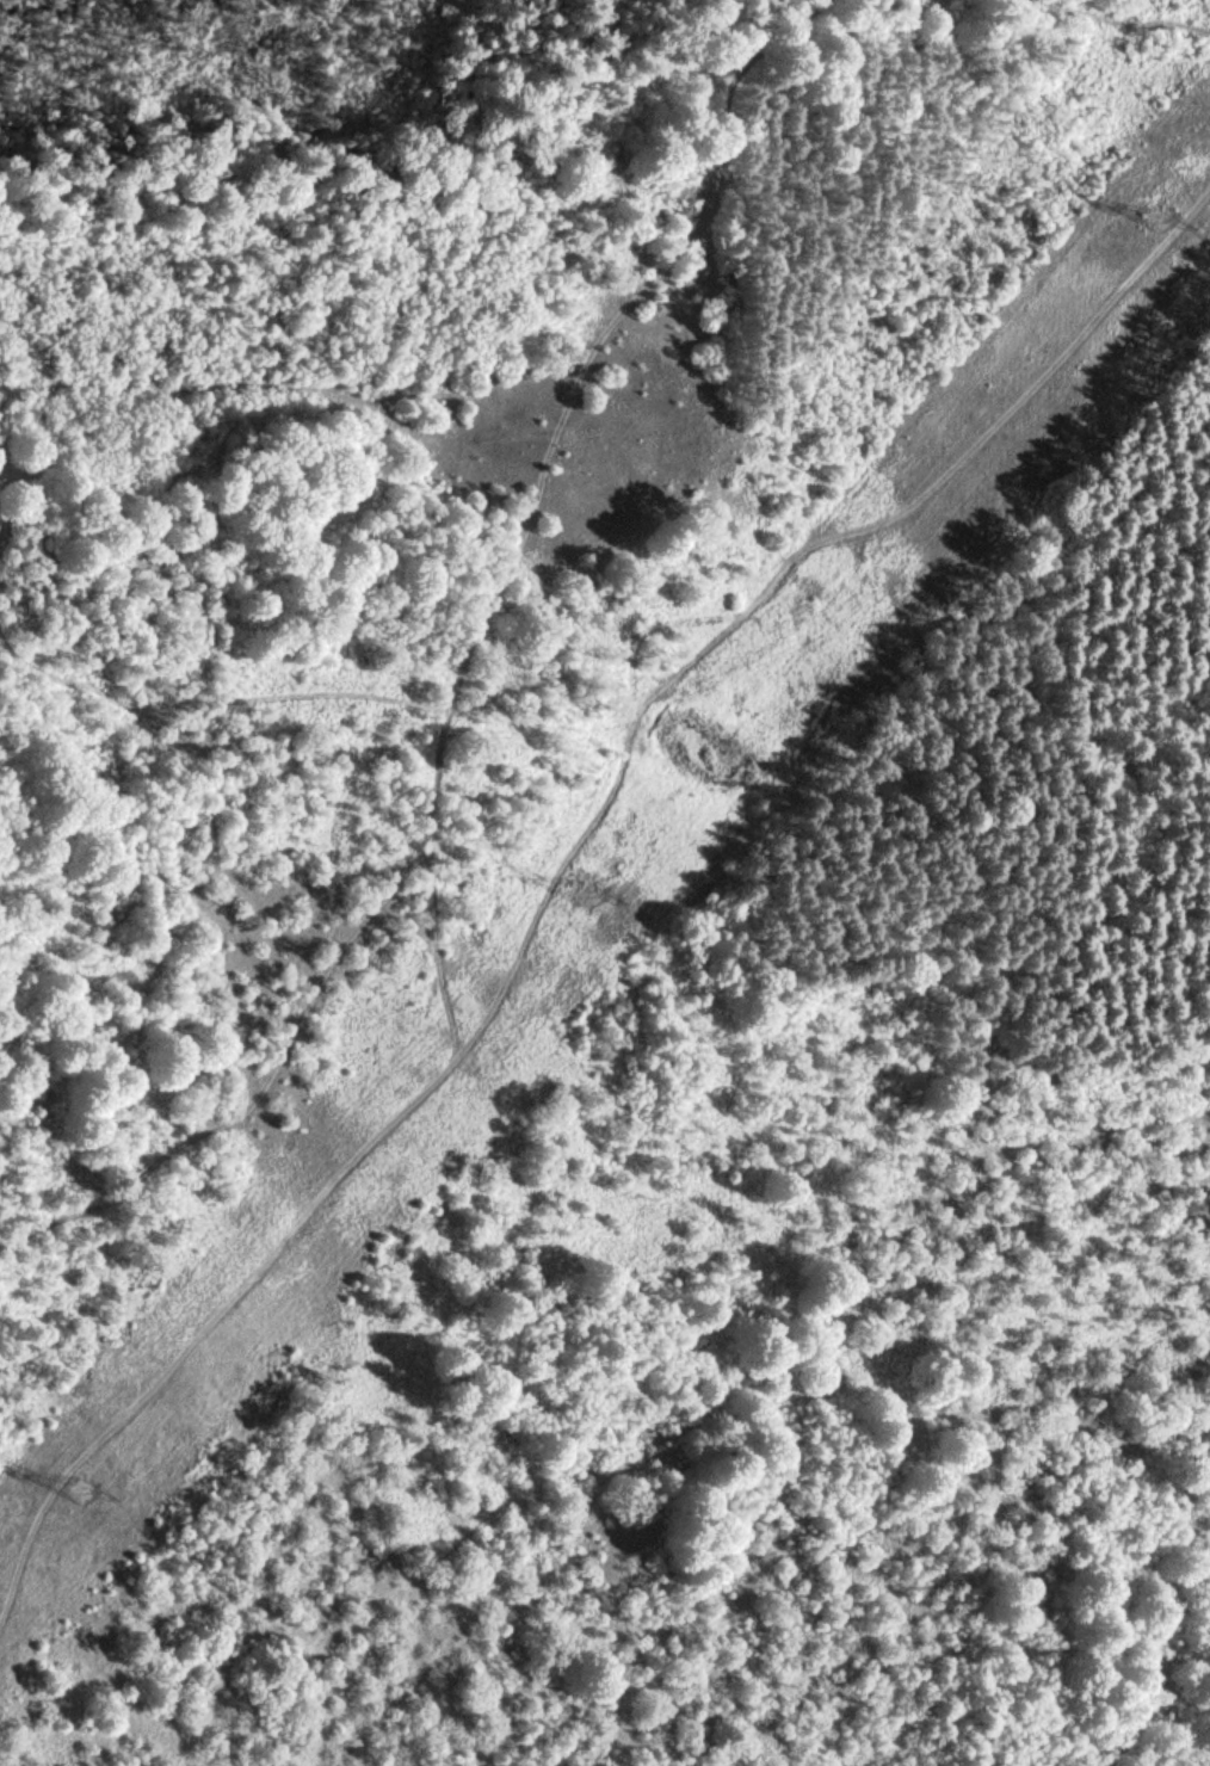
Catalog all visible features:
river: (165, 112)
power tower: (1157, 222)
power tower: (588, 893)
power tower: (82, 1493)

